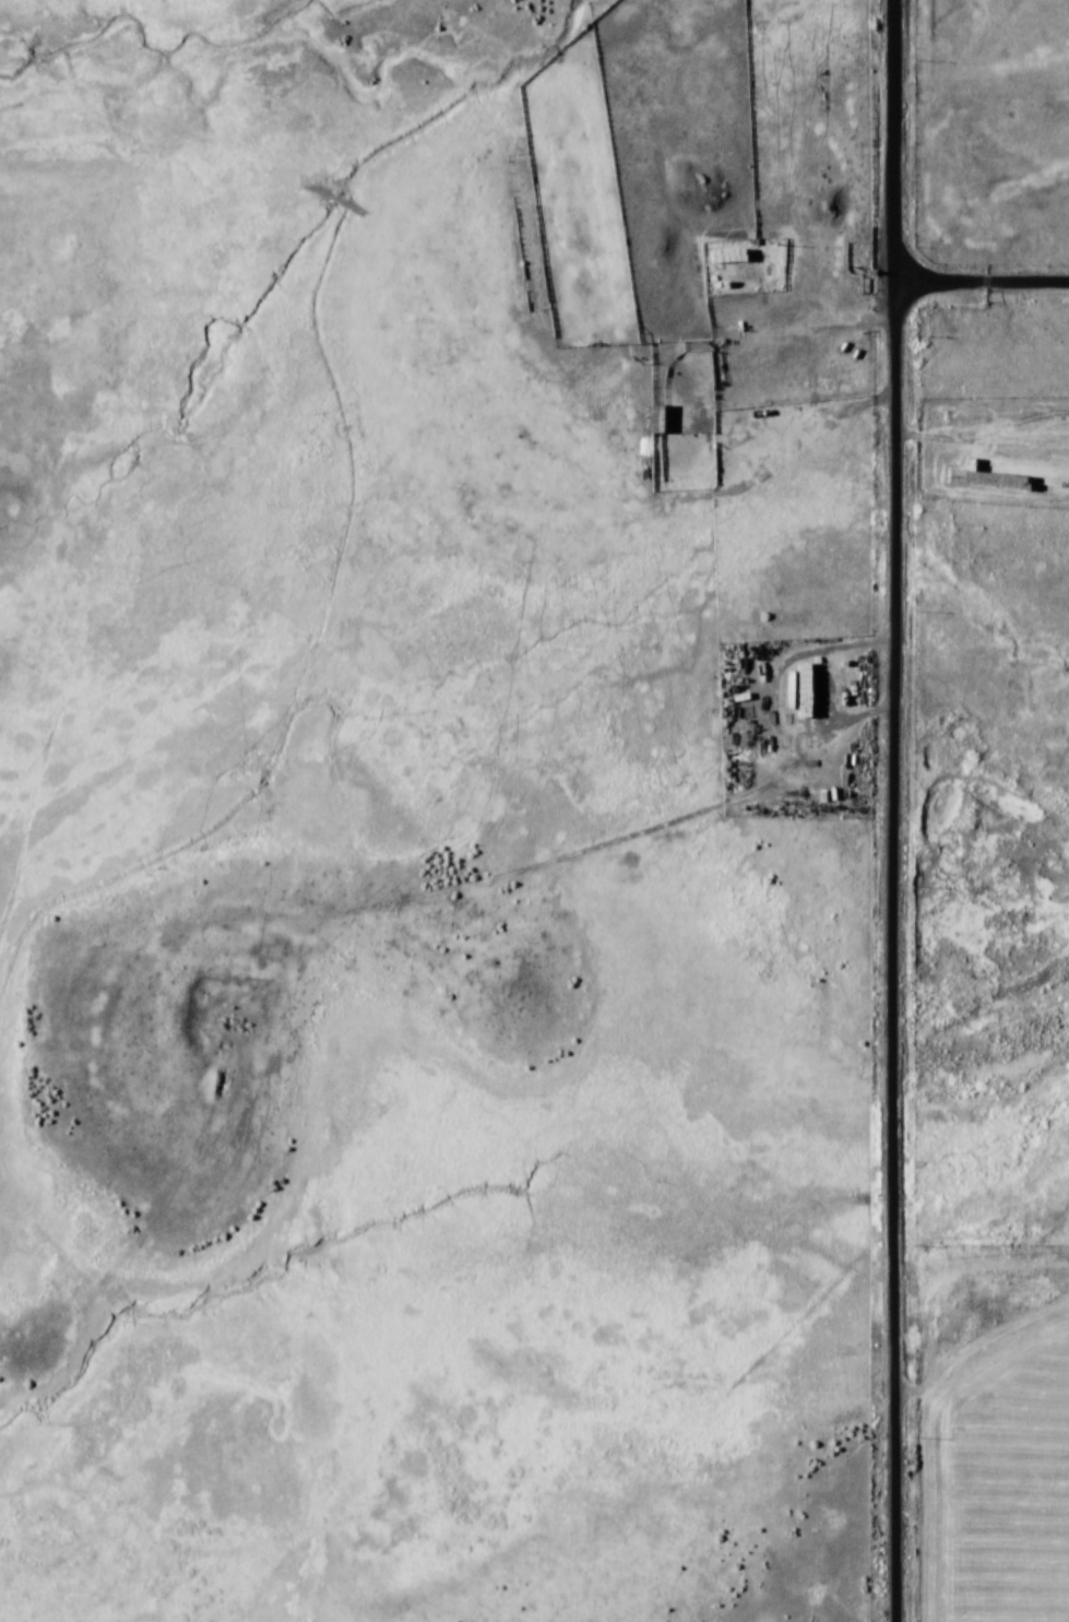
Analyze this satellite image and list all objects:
road: (986, 277)
road: (898, 810)

